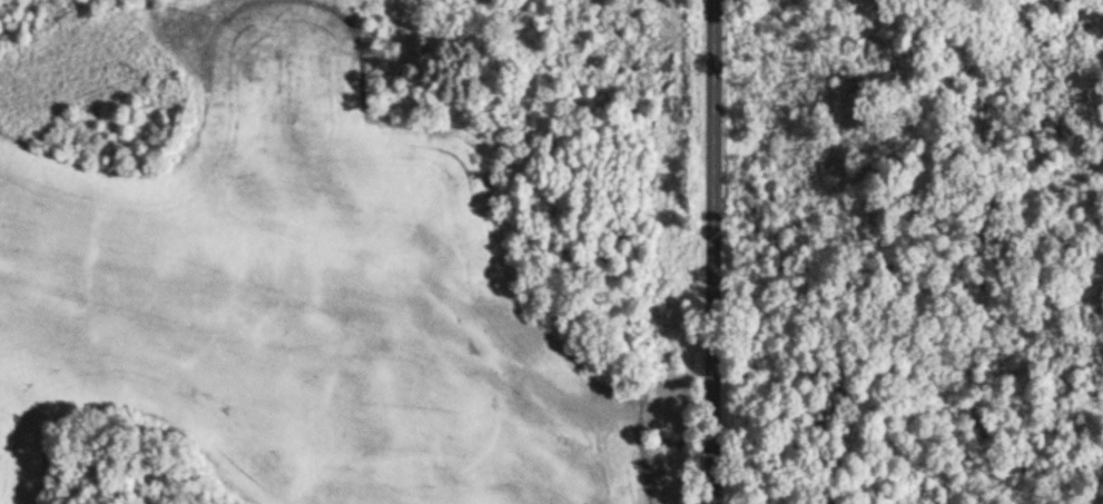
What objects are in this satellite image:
road: (711, 251)

